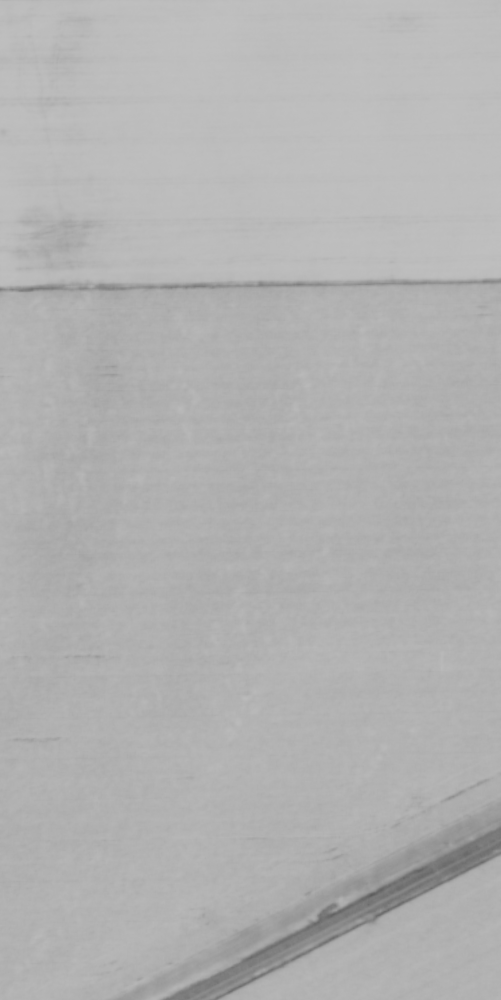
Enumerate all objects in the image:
railway: (327, 909)

